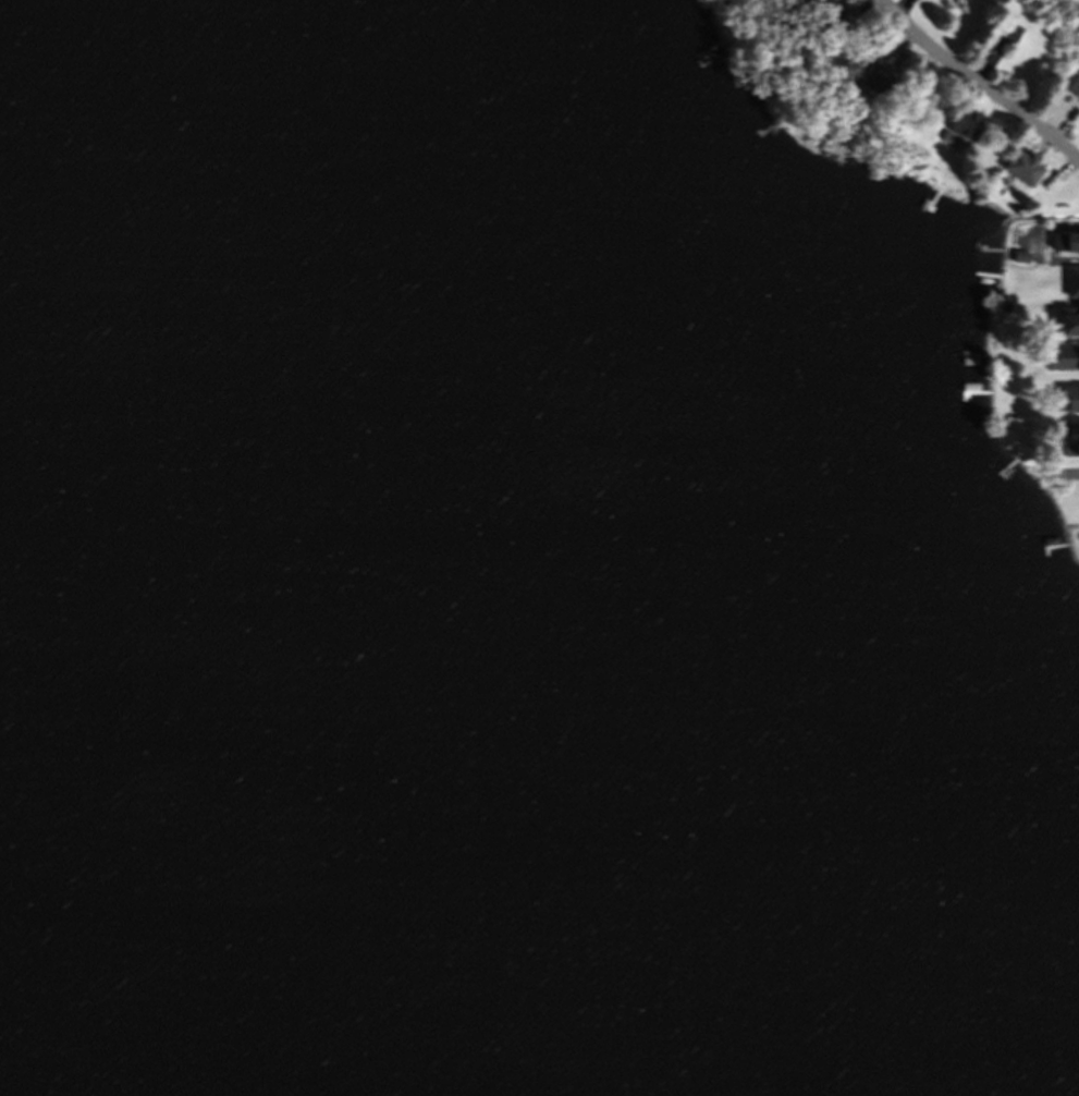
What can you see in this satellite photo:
building: (912, 1)
building: (830, 21)
building: (998, 33)
building: (870, 80)
road: (978, 82)
building: (1074, 89)
building: (966, 127)
building: (1022, 171)
building: (1066, 243)
building: (1069, 287)
building: (1066, 324)
building: (1058, 365)
building: (1067, 402)
building: (1070, 440)
river: (162, 799)

